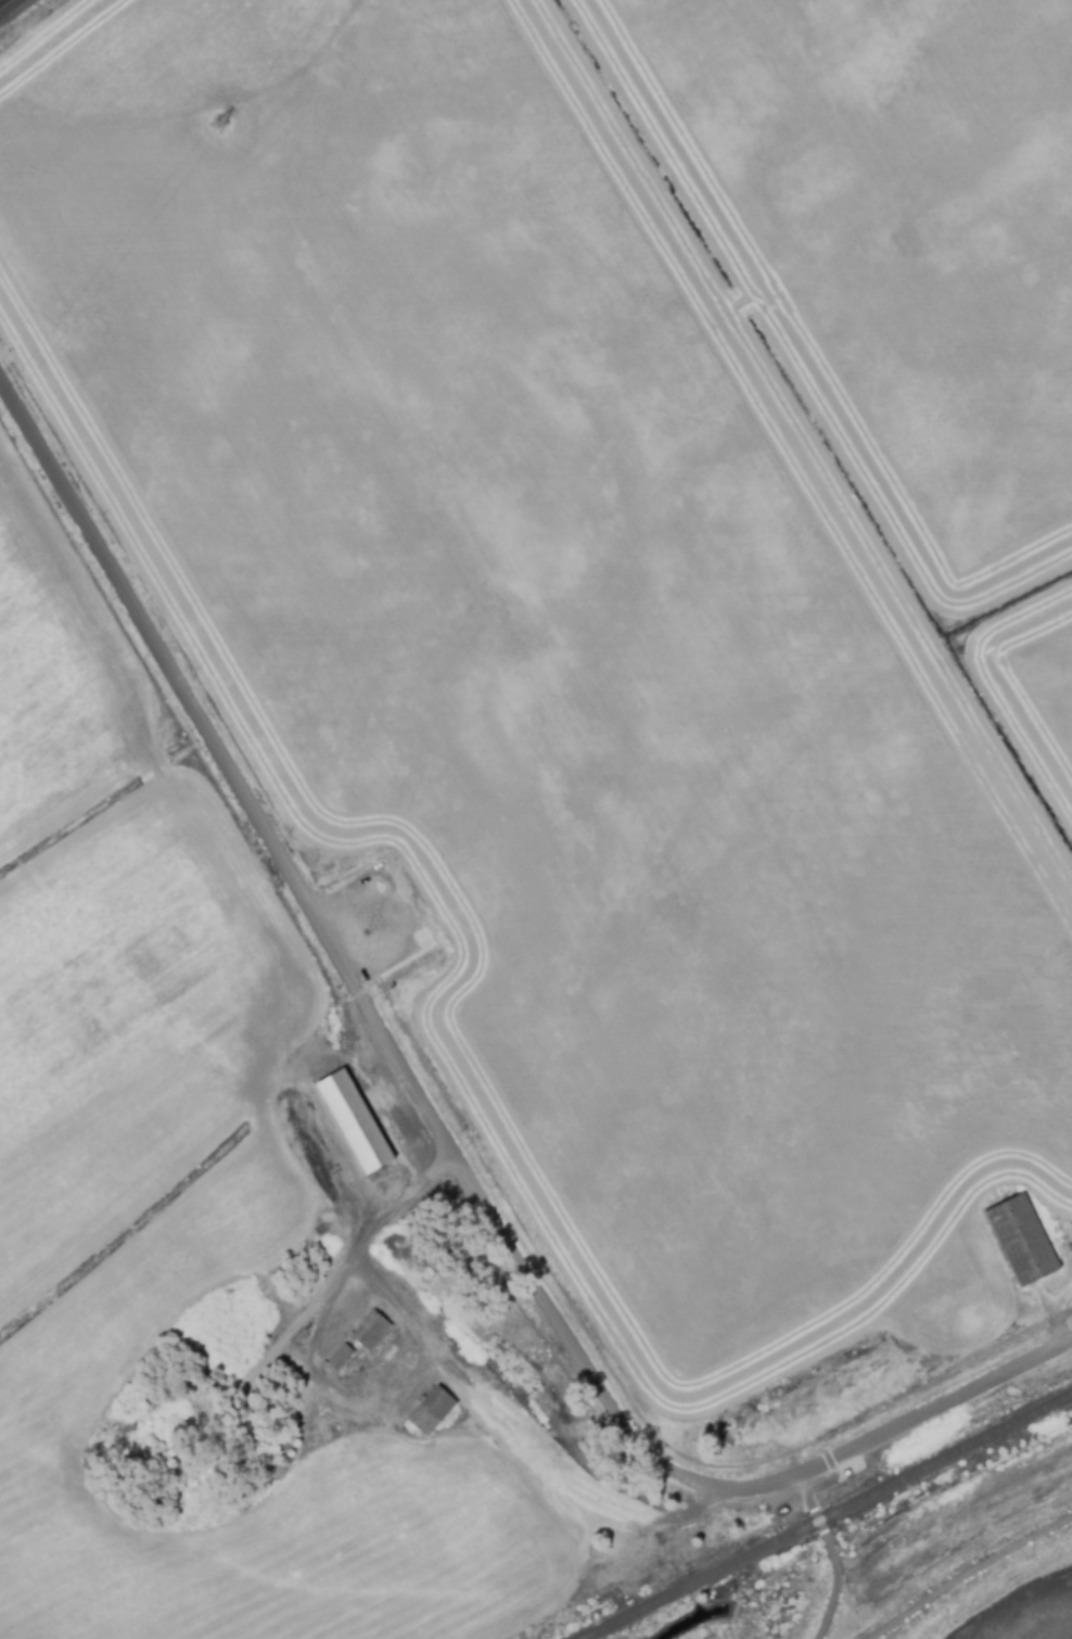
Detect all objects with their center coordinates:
road: (0, 0)
power tower: (214, 131)
parking lot: (370, 925)
building: (353, 1125)
road: (432, 1135)
road: (397, 1205)
building: (1021, 1246)
building: (371, 1332)
building: (342, 1358)
road: (615, 1371)
building: (424, 1422)
building: (126, 1425)
railway: (943, 1461)
building: (247, 1485)
road: (968, 1574)
railway: (699, 1583)

